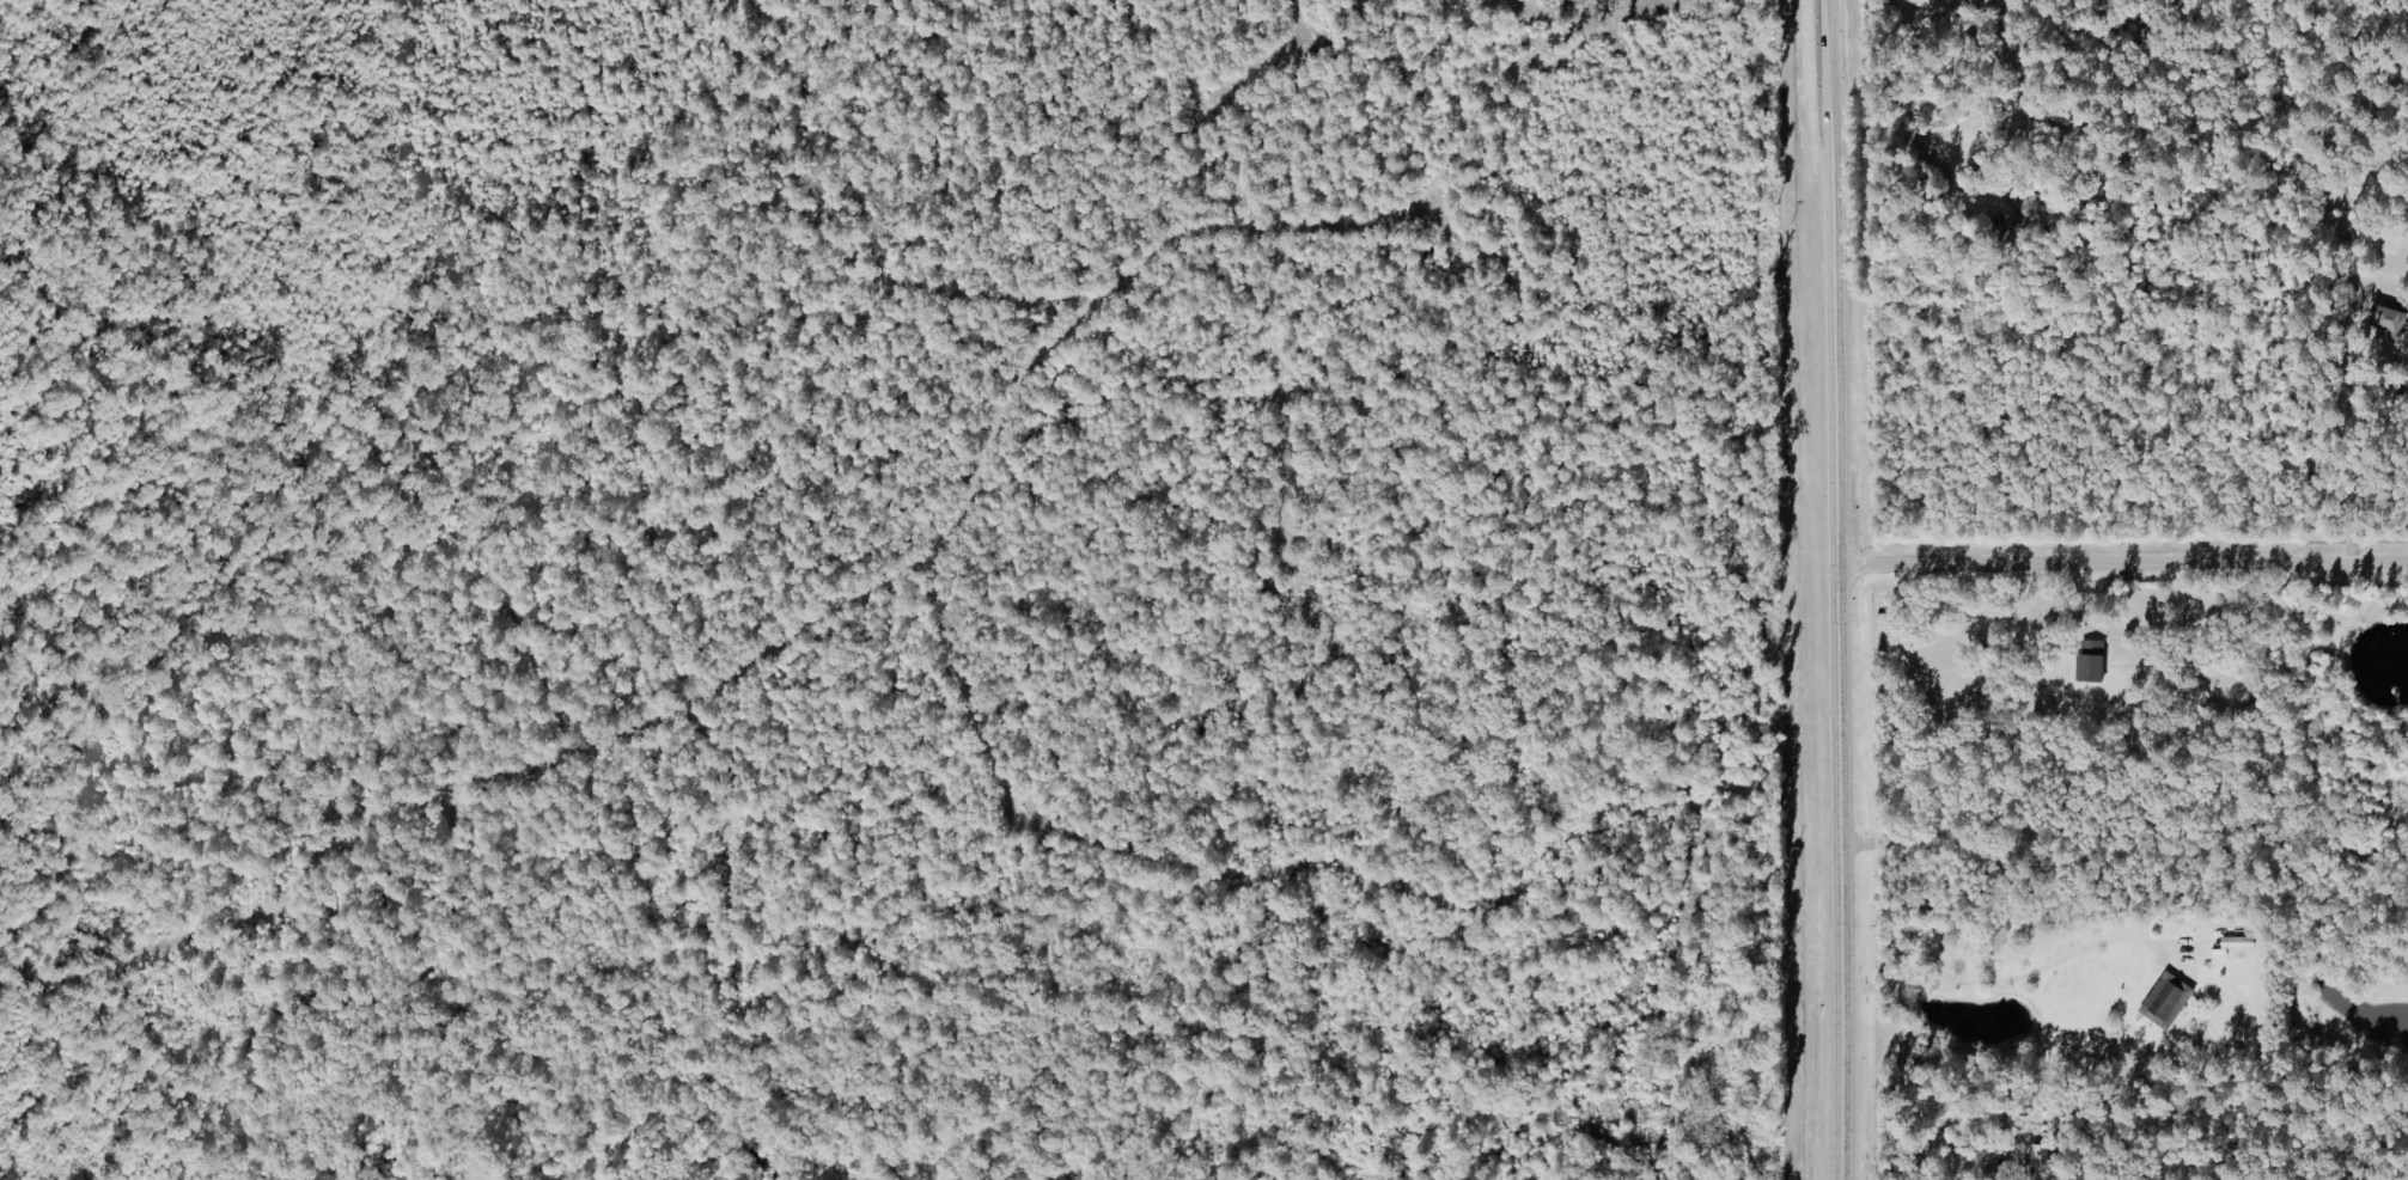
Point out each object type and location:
building: (2388, 319)
road: (2122, 564)
road: (1836, 589)
building: (2093, 668)
building: (2238, 942)
road: (1999, 984)
building: (2169, 1001)

